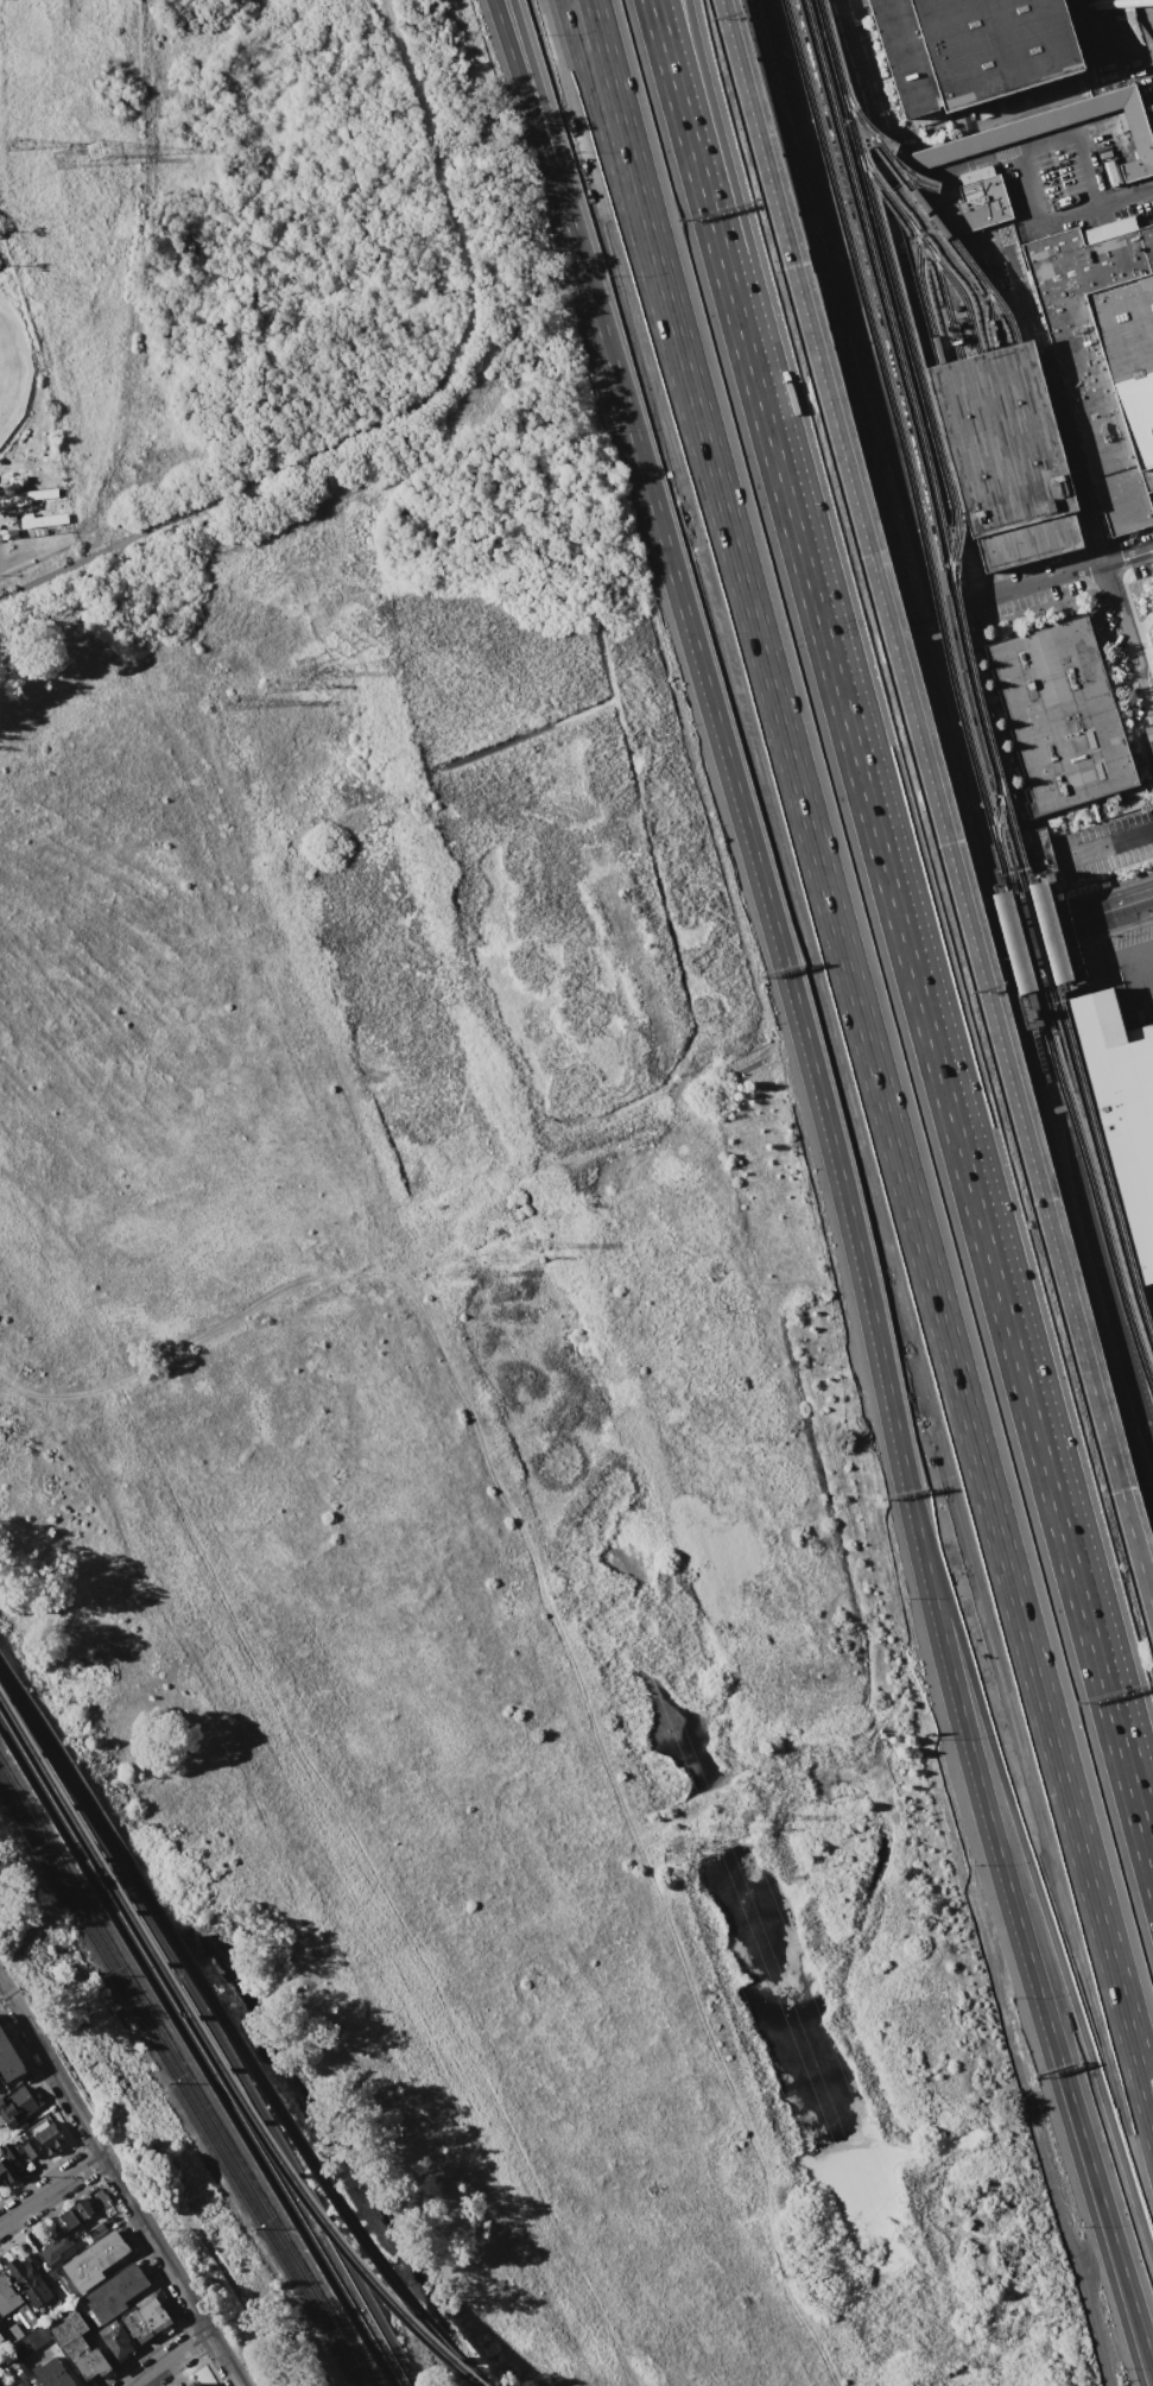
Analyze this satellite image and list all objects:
road: (654, 24)
road: (582, 34)
road: (594, 34)
airport apron: (1114, 34)
building: (968, 49)
road: (777, 77)
road: (850, 87)
road: (526, 93)
road: (533, 93)
road: (614, 113)
road: (703, 131)
power tower: (12, 145)
power tower: (100, 151)
road: (690, 154)
power tower: (65, 169)
building: (880, 171)
road: (850, 203)
road: (1106, 204)
railway: (930, 215)
railway: (925, 248)
road: (822, 252)
road: (919, 276)
road: (142, 277)
railway: (894, 289)
railway: (919, 291)
railway: (942, 304)
railway: (988, 312)
road: (944, 321)
building: (1103, 353)
park: (11, 368)
railway: (1027, 400)
railway: (1009, 406)
road: (1051, 406)
road: (404, 409)
railway: (992, 412)
road: (873, 428)
railway: (976, 432)
railway: (958, 437)
building: (1002, 454)
road: (925, 457)
building: (25, 498)
building: (40, 519)
road: (32, 551)
road: (906, 557)
road: (1037, 576)
airport: (996, 577)
building: (1148, 638)
road: (1126, 647)
road: (920, 658)
power tower: (305, 679)
railway: (969, 679)
power tower: (268, 686)
railway: (957, 698)
power tower: (228, 702)
building: (1057, 715)
road: (938, 729)
road: (983, 762)
railway: (994, 809)
road: (936, 811)
road: (749, 835)
road: (1108, 844)
road: (969, 846)
building: (1039, 850)
road: (1090, 913)
building: (1046, 930)
traffic signals: (1028, 933)
road: (1012, 938)
building: (1011, 941)
traffic signals: (995, 943)
road: (1126, 962)
railway: (1071, 985)
railway: (1032, 995)
road: (936, 1072)
road: (1065, 1074)
road: (1033, 1082)
building: (1121, 1108)
road: (888, 1145)
road: (446, 1220)
power tower: (527, 1248)
power tower: (493, 1260)
power tower: (452, 1272)
road: (1091, 1273)
road: (1111, 1348)
road: (1135, 1365)
road: (1120, 1376)
road: (1127, 1404)
road: (1142, 1451)
road: (555, 1627)
railway: (63, 1766)
power tower: (753, 1822)
power tower: (721, 1841)
power tower: (678, 1848)
road: (1034, 1867)
road: (1008, 1904)
railway: (210, 2029)
railway: (197, 2053)
building: (8, 2059)
railway: (215, 2061)
railway: (184, 2076)
railway: (178, 2087)
building: (18, 2106)
railway: (293, 2133)
building: (47, 2137)
building: (32, 2147)
building: (8, 2151)
building: (6, 2172)
road: (122, 2183)
road: (52, 2190)
building: (76, 2213)
building: (56, 2251)
building: (94, 2262)
building: (30, 2279)
building: (116, 2293)
building: (7, 2296)
building: (147, 2321)
building: (12, 2333)
building: (70, 2335)
building: (1, 2337)
building: (116, 2342)
road: (1141, 2343)
road: (1139, 2348)
road: (172, 2359)
building: (91, 2366)
building: (51, 2373)
building: (24, 2384)
building: (191, 2384)

